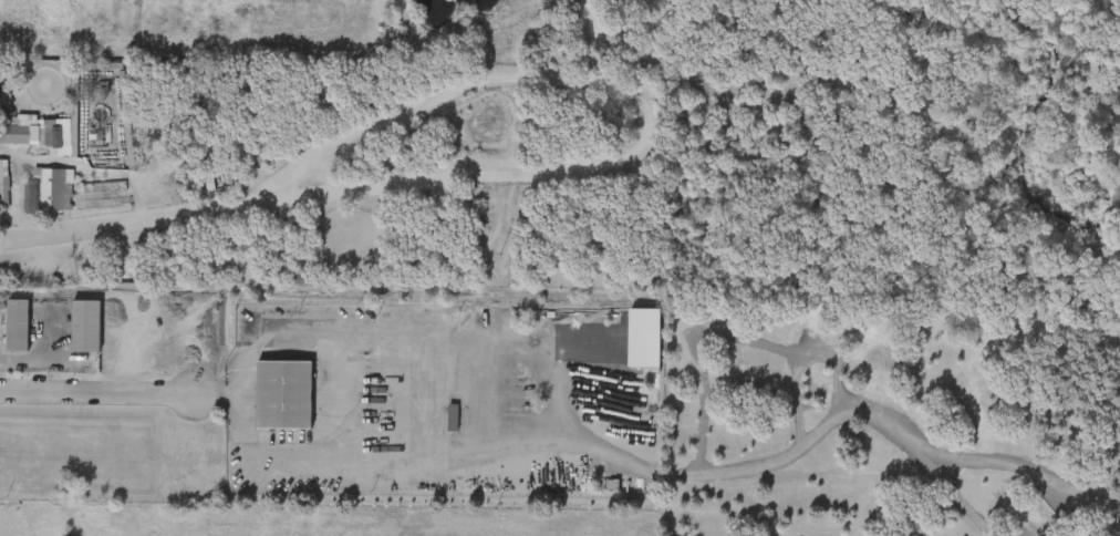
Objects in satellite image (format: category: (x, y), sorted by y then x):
building: (10, 124)
building: (45, 135)
building: (0, 183)
building: (53, 188)
building: (41, 202)
building: (15, 323)
building: (83, 324)
building: (7, 338)
building: (70, 339)
road: (229, 344)
road: (24, 372)
building: (281, 392)
road: (89, 401)
road: (203, 406)
building: (437, 430)
road: (780, 463)
road: (963, 504)

